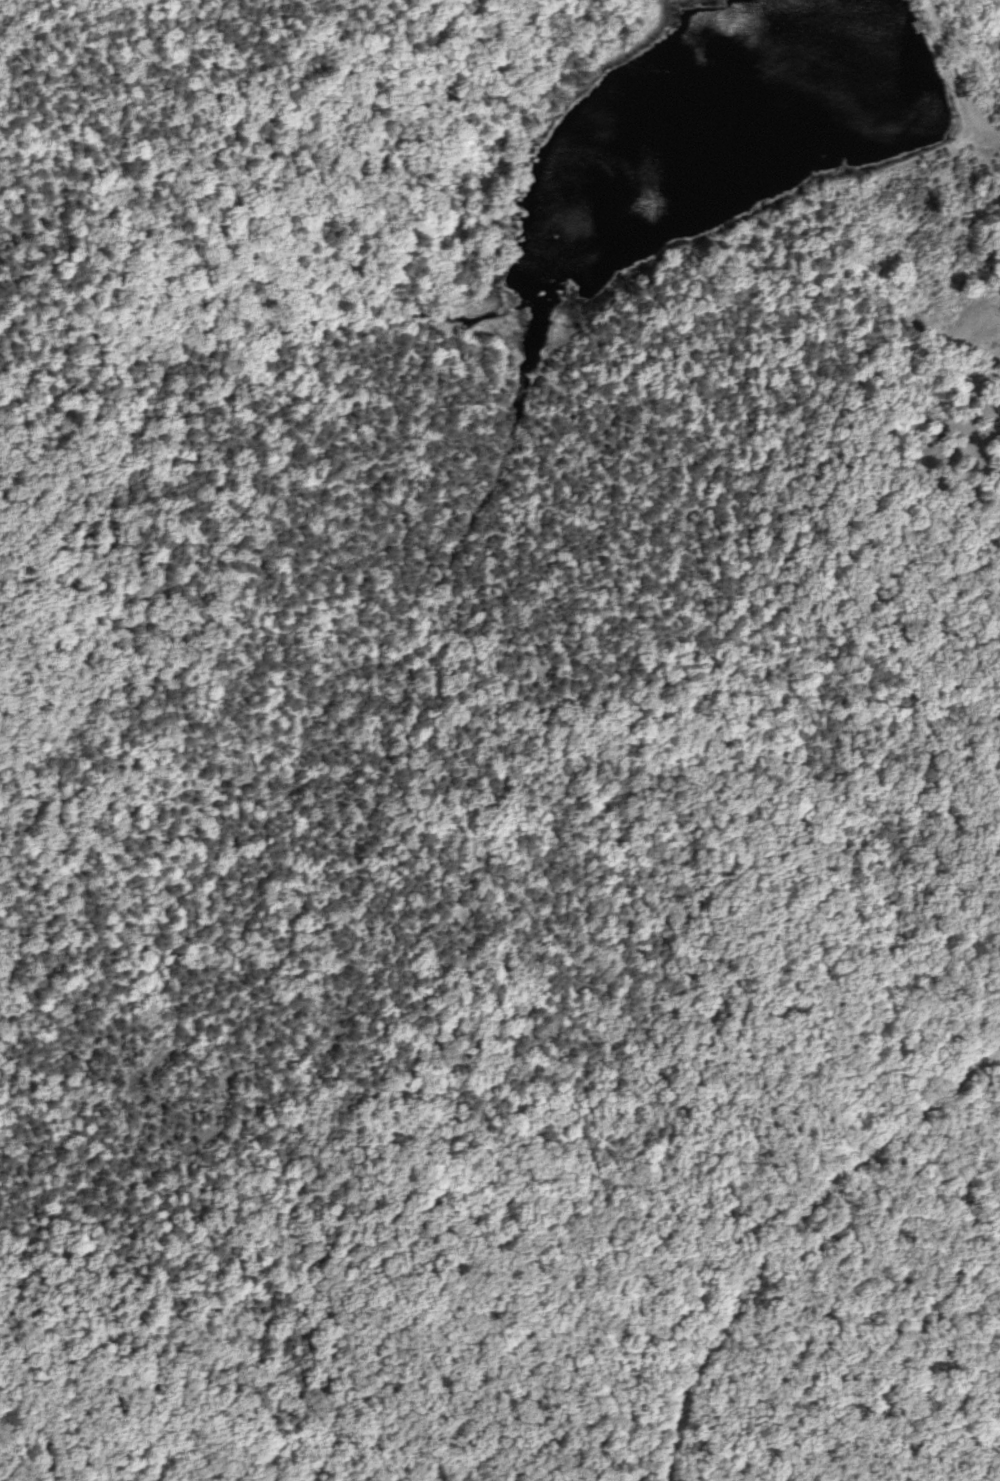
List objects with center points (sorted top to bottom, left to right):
building: (995, 398)
road: (786, 1233)

